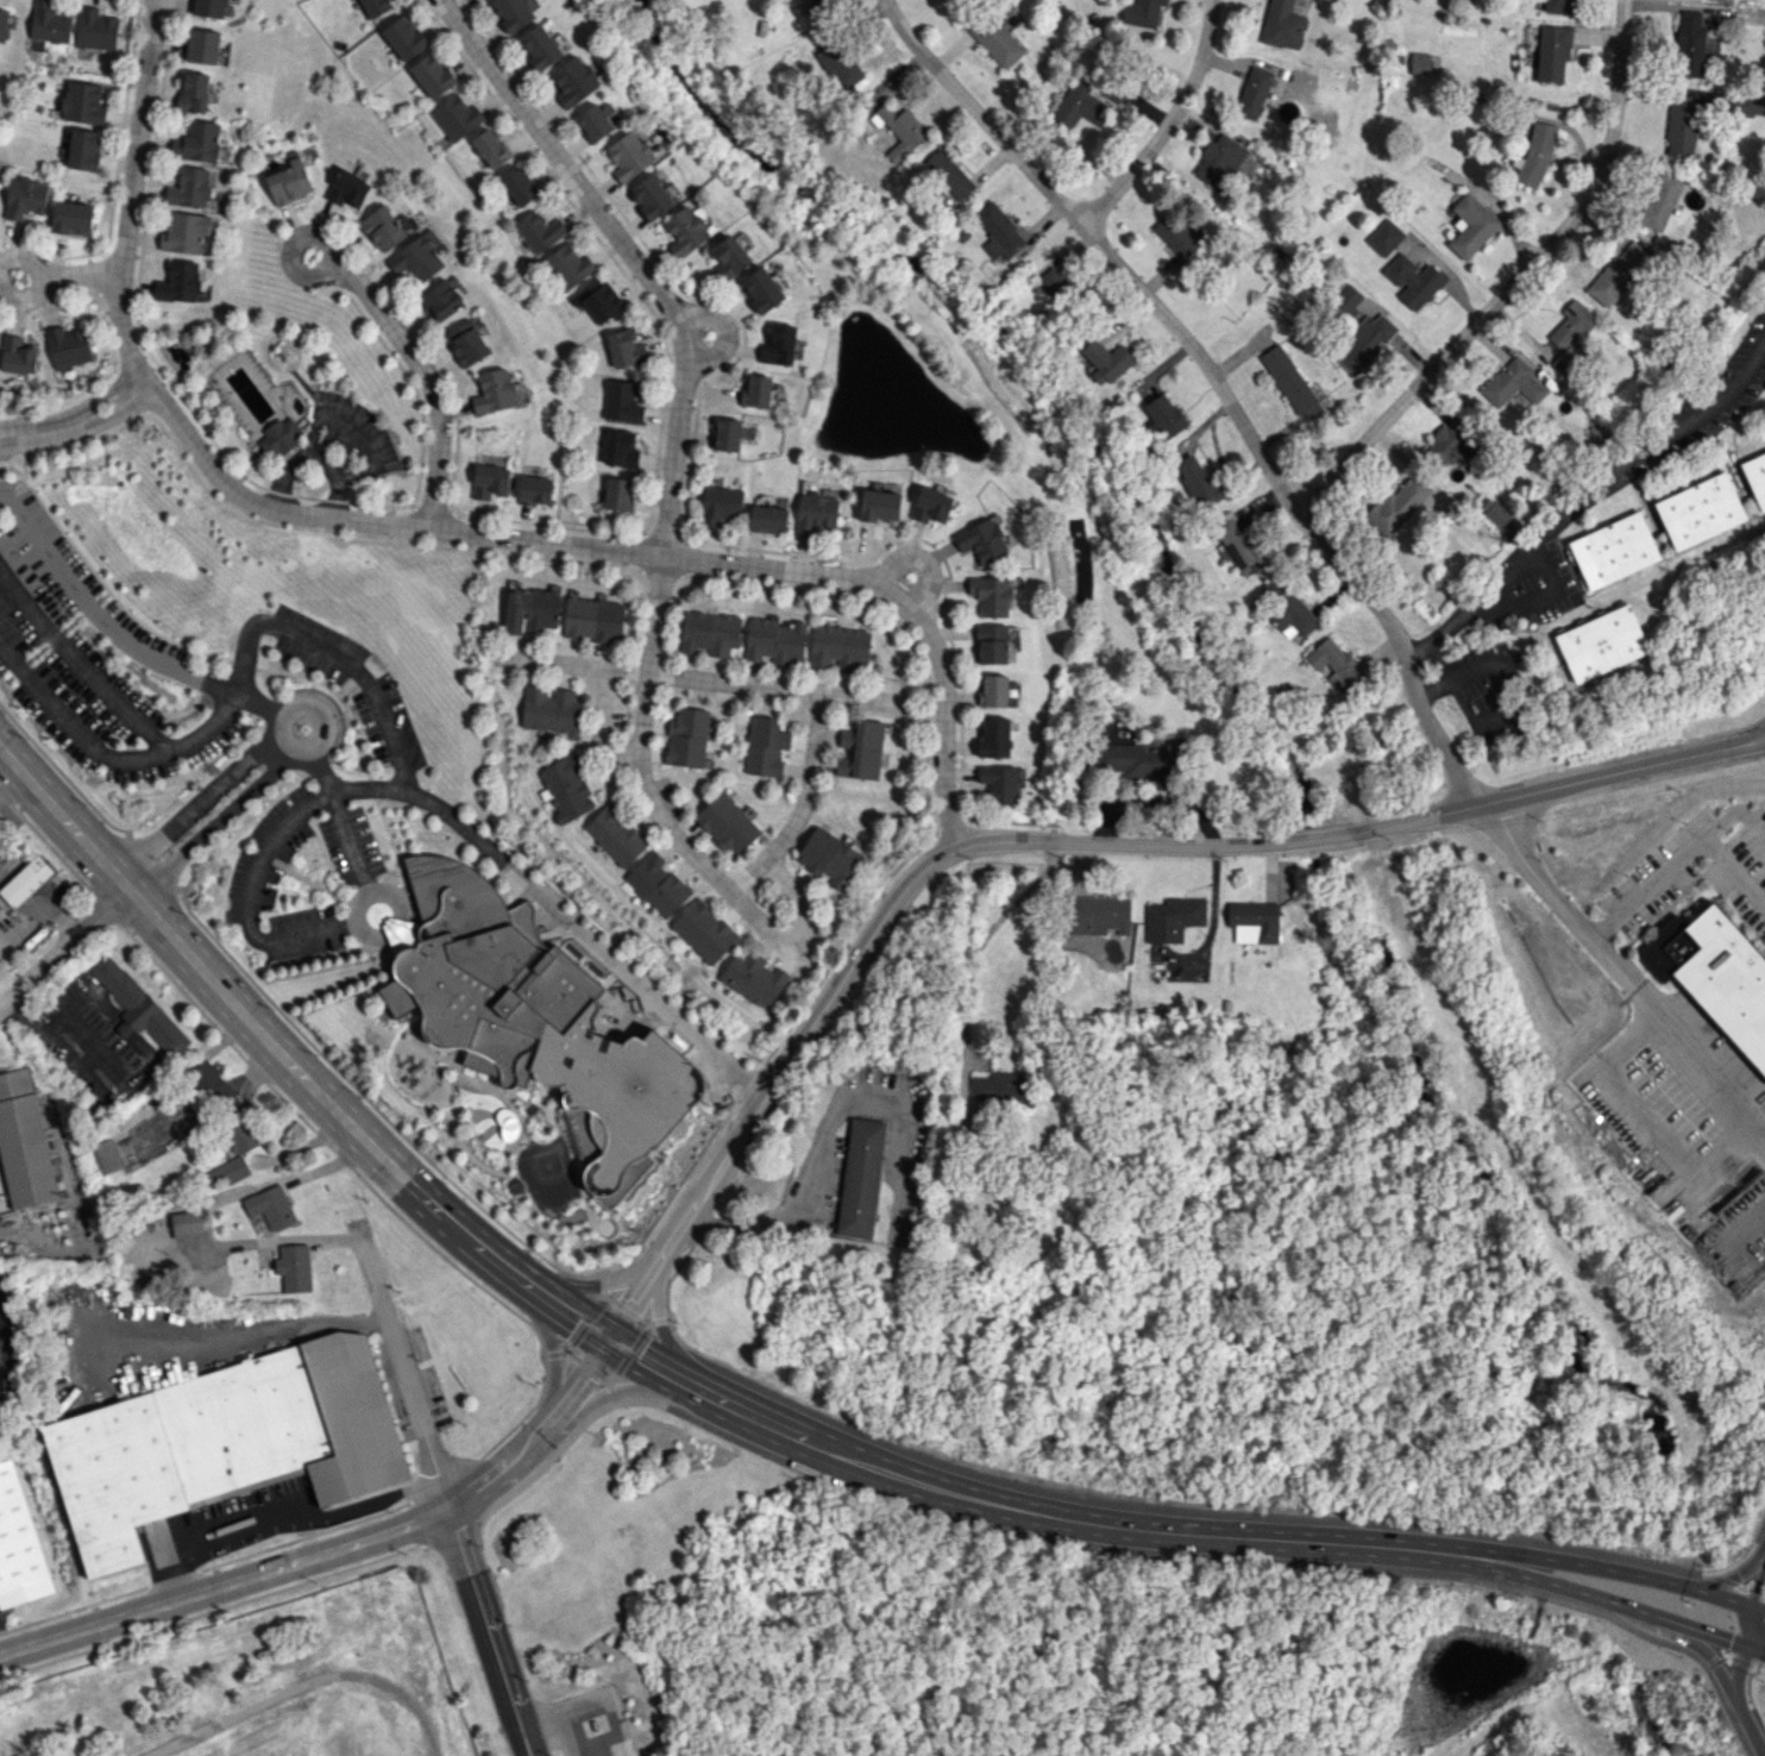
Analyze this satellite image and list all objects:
building: (802, 0)
building: (817, 4)
building: (376, 6)
building: (1558, 6)
building: (211, 7)
building: (1142, 12)
building: (511, 13)
building: (50, 23)
building: (4, 25)
building: (1282, 25)
building: (98, 30)
building: (404, 38)
building: (995, 40)
building: (1689, 44)
building: (205, 46)
building: (539, 46)
building: (1552, 54)
building: (1419, 63)
building: (432, 76)
building: (574, 80)
building: (196, 92)
building: (1252, 92)
building: (84, 102)
building: (1746, 104)
building: (1079, 105)
building: (456, 117)
building: (595, 121)
road: (1169, 123)
building: (1681, 125)
building: (899, 130)
building: (200, 142)
building: (86, 149)
building: (490, 149)
building: (629, 155)
building: (1534, 155)
building: (1221, 159)
building: (949, 174)
building: (290, 182)
building: (517, 186)
building: (191, 187)
building: (348, 189)
building: (652, 196)
building: (27, 197)
building: (1659, 200)
building: (75, 218)
building: (1470, 225)
building: (384, 228)
building: (686, 230)
building: (539, 231)
building: (998, 231)
building: (187, 232)
building: (1177, 233)
building: (1384, 237)
road: (1100, 242)
building: (729, 257)
road: (24, 258)
building: (416, 258)
building: (567, 266)
building: (1619, 274)
road: (83, 278)
building: (1413, 281)
building: (181, 282)
road: (1515, 282)
building: (1054, 284)
building: (762, 289)
road: (25, 299)
building: (1345, 299)
building: (599, 300)
building: (442, 301)
road: (388, 319)
road: (724, 330)
building: (1571, 335)
building: (1365, 341)
building: (467, 343)
building: (779, 345)
building: (70, 346)
building: (18, 355)
building: (1106, 360)
building: (1289, 382)
building: (1513, 383)
building: (758, 389)
building: (495, 391)
road: (102, 397)
building: (621, 401)
road: (112, 414)
building: (1163, 415)
road: (62, 426)
road: (33, 429)
road: (356, 434)
building: (726, 434)
building: (282, 435)
building: (1453, 443)
building: (620, 449)
road: (313, 457)
building: (1755, 477)
building: (490, 481)
building: (1198, 481)
building: (534, 489)
building: (616, 493)
road: (1588, 498)
building: (720, 503)
road: (667, 504)
building: (931, 504)
building: (1397, 504)
building: (879, 506)
road: (290, 510)
building: (1700, 510)
building: (1494, 512)
building: (815, 513)
building: (767, 519)
building: (982, 540)
building: (1238, 545)
building: (1614, 550)
road: (919, 557)
building: (991, 595)
road: (1531, 602)
building: (529, 610)
road: (103, 617)
building: (592, 620)
building: (709, 633)
building: (774, 640)
building: (992, 644)
building: (1601, 644)
road: (319, 645)
road: (1399, 646)
building: (838, 647)
parking lot: (96, 657)
road: (78, 659)
road: (1437, 660)
road: (1497, 661)
building: (1334, 664)
road: (697, 678)
parking lot: (354, 684)
building: (993, 690)
road: (943, 703)
building: (551, 710)
road: (278, 725)
road: (1757, 734)
building: (686, 738)
building: (994, 738)
road: (1757, 740)
building: (765, 746)
building: (861, 750)
road: (114, 753)
building: (1144, 758)
road: (321, 771)
building: (1000, 783)
building: (565, 788)
road: (360, 790)
road: (196, 802)
road: (803, 803)
road: (1733, 811)
road: (220, 823)
building: (727, 823)
building: (614, 835)
road: (1054, 843)
building: (830, 858)
road: (1734, 867)
parking lot: (300, 874)
building: (26, 880)
building: (658, 884)
road: (1646, 885)
road: (1557, 896)
road: (359, 904)
road: (1214, 913)
building: (1097, 915)
building: (1172, 918)
building: (1254, 922)
road: (987, 929)
building: (704, 932)
road: (64, 941)
building: (488, 972)
building: (1715, 974)
building: (754, 978)
building: (139, 1008)
road: (71, 1010)
road: (96, 1051)
road: (1701, 1064)
road: (80, 1068)
building: (212, 1084)
building: (1003, 1087)
road: (835, 1130)
building: (243, 1136)
building: (24, 1140)
building: (585, 1143)
building: (107, 1156)
building: (226, 1173)
building: (861, 1178)
road: (660, 1199)
building: (270, 1206)
building: (186, 1224)
building: (294, 1267)
road: (274, 1332)
traffic signals: (609, 1340)
road: (623, 1347)
building: (222, 1443)
road: (440, 1494)
road: (285, 1517)
building: (19, 1543)
road: (338, 1549)
road: (1609, 1568)
road: (1728, 1576)
traffic signals: (1755, 1591)
road: (1602, 1600)
road: (1752, 1604)
road: (1758, 1608)
road: (1759, 1626)
traffic signals: (1729, 1639)
road: (1754, 1648)
road: (1702, 1649)
road: (1739, 1661)
road: (306, 1682)
road: (590, 1702)
road: (1748, 1726)

